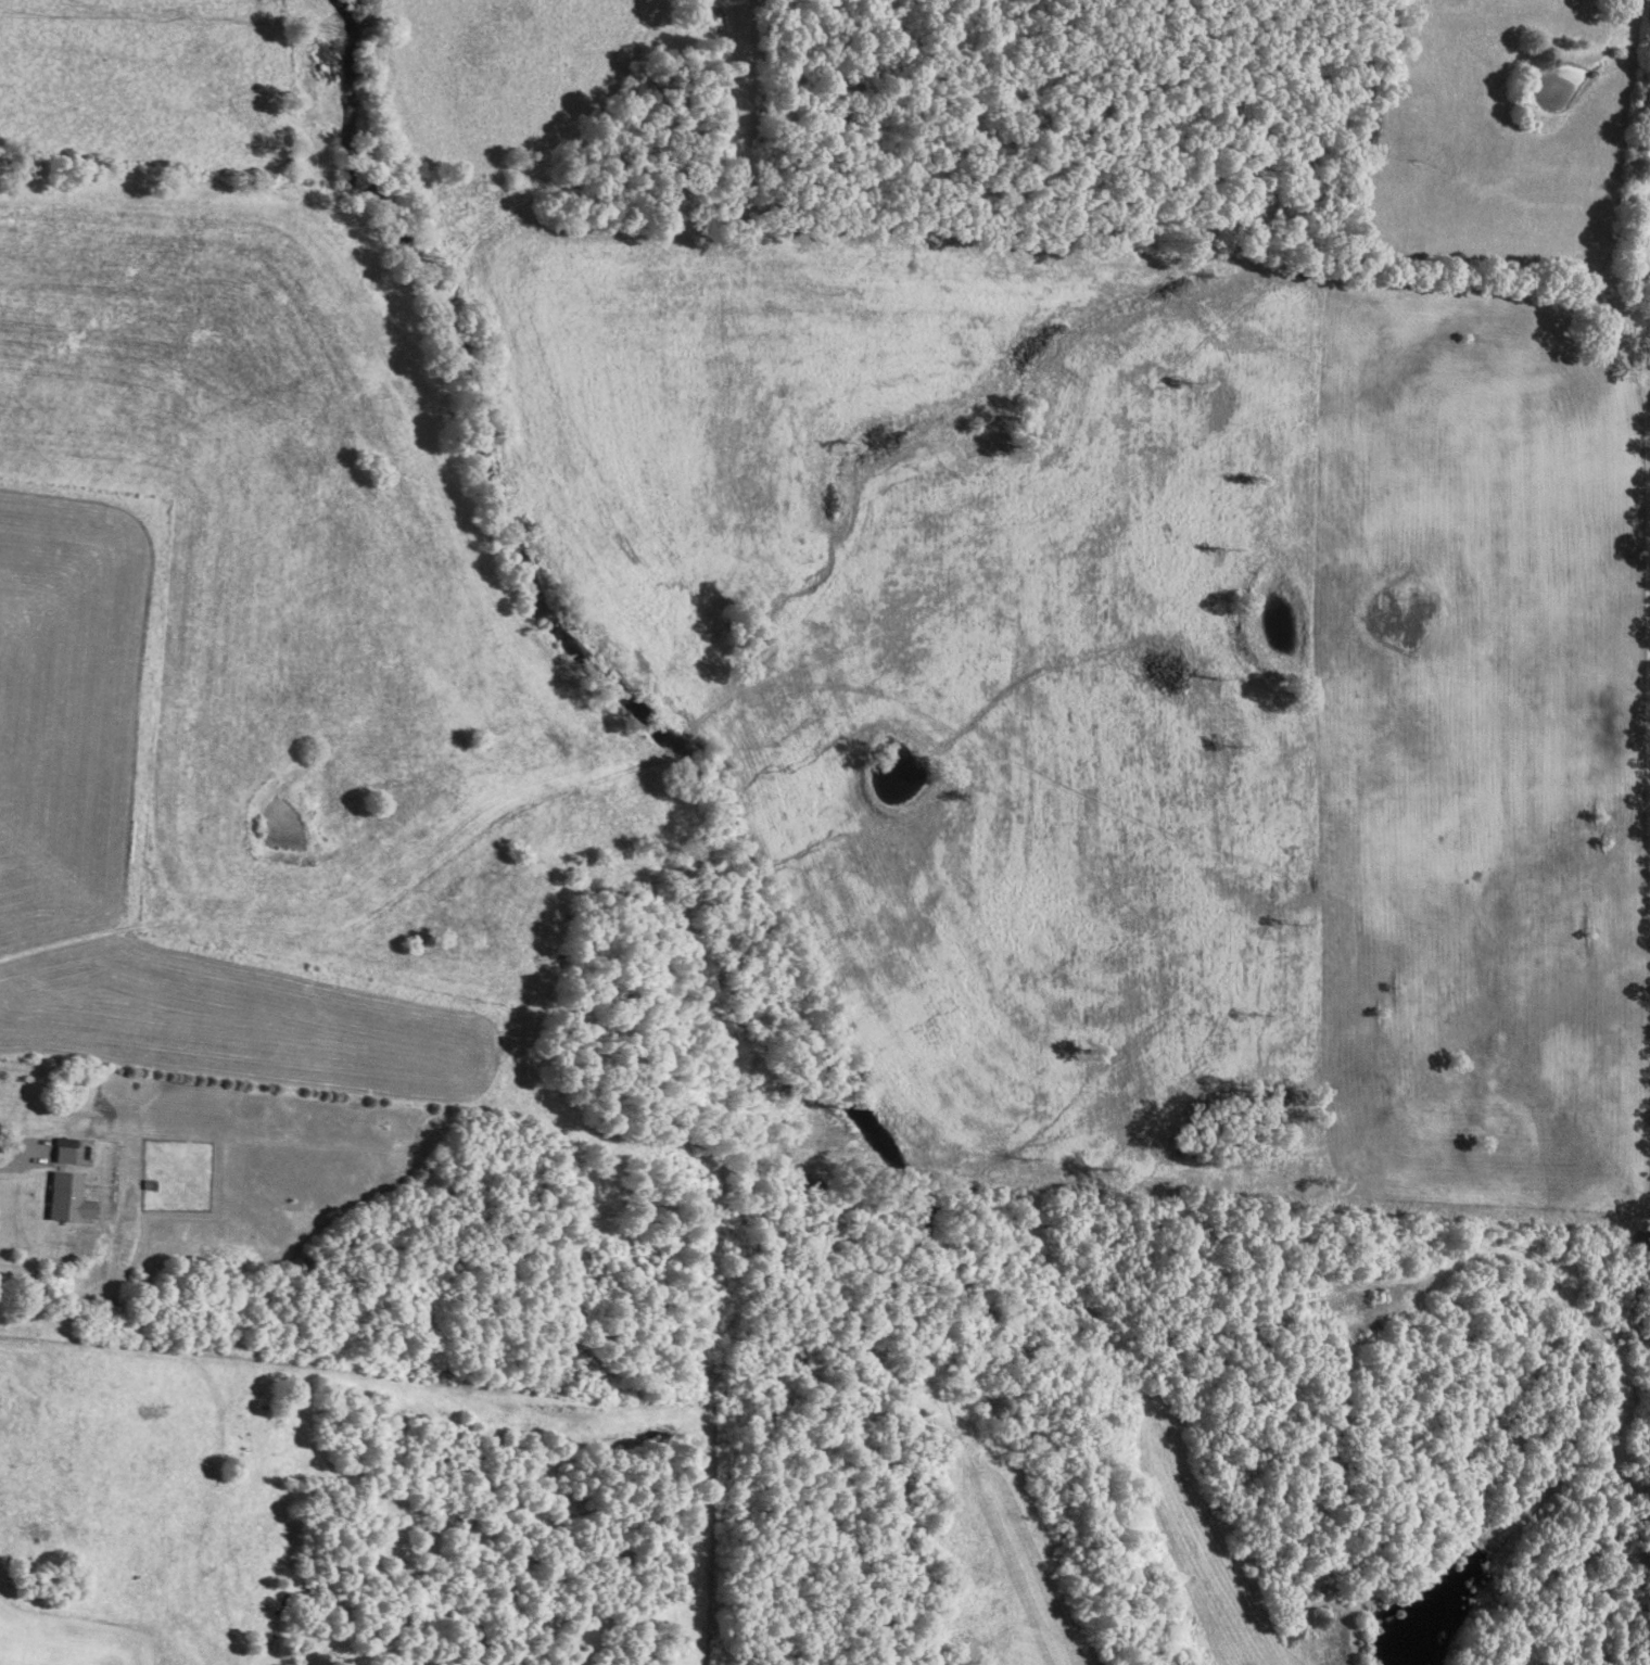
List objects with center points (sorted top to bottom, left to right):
building: (65, 1198)

